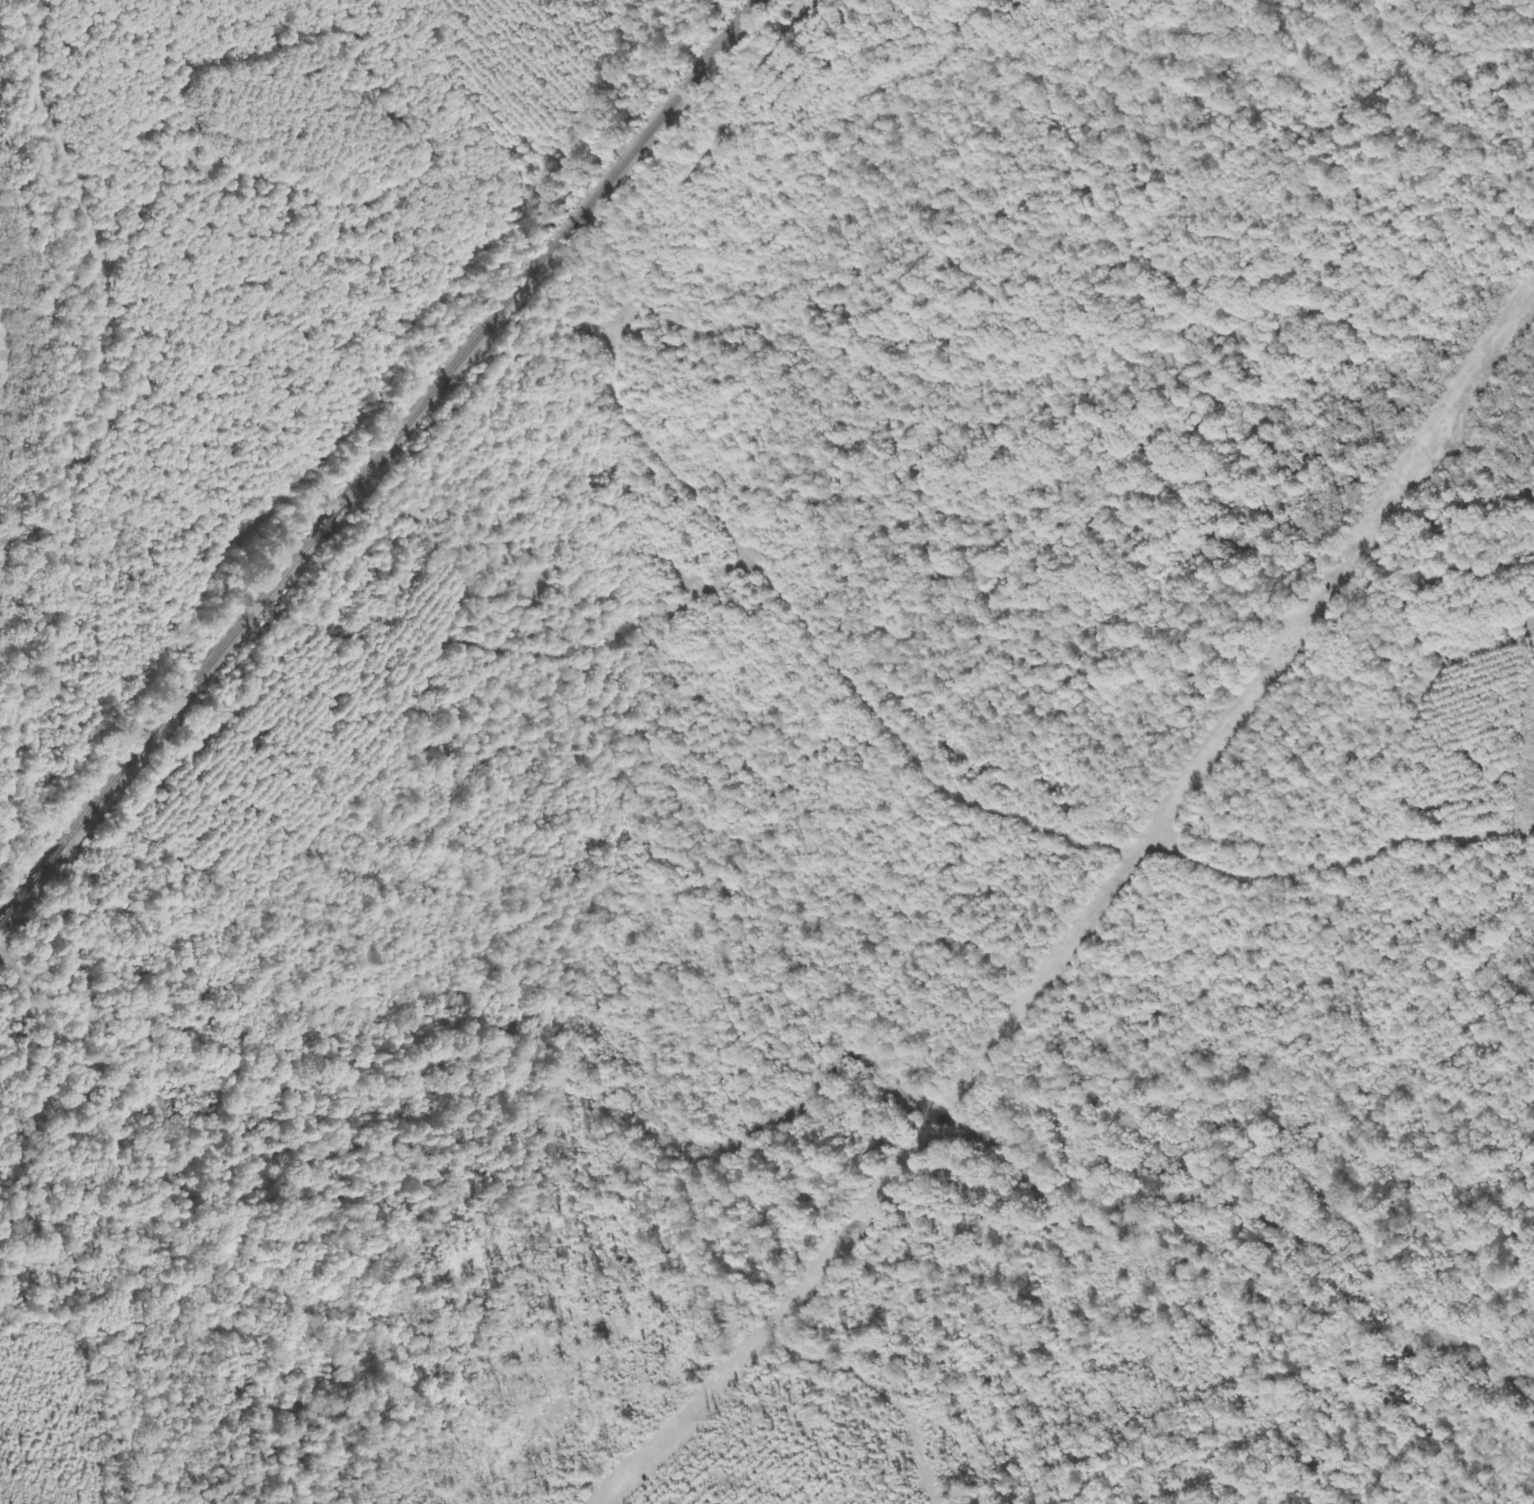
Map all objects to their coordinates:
railway: (377, 460)
road: (825, 652)

